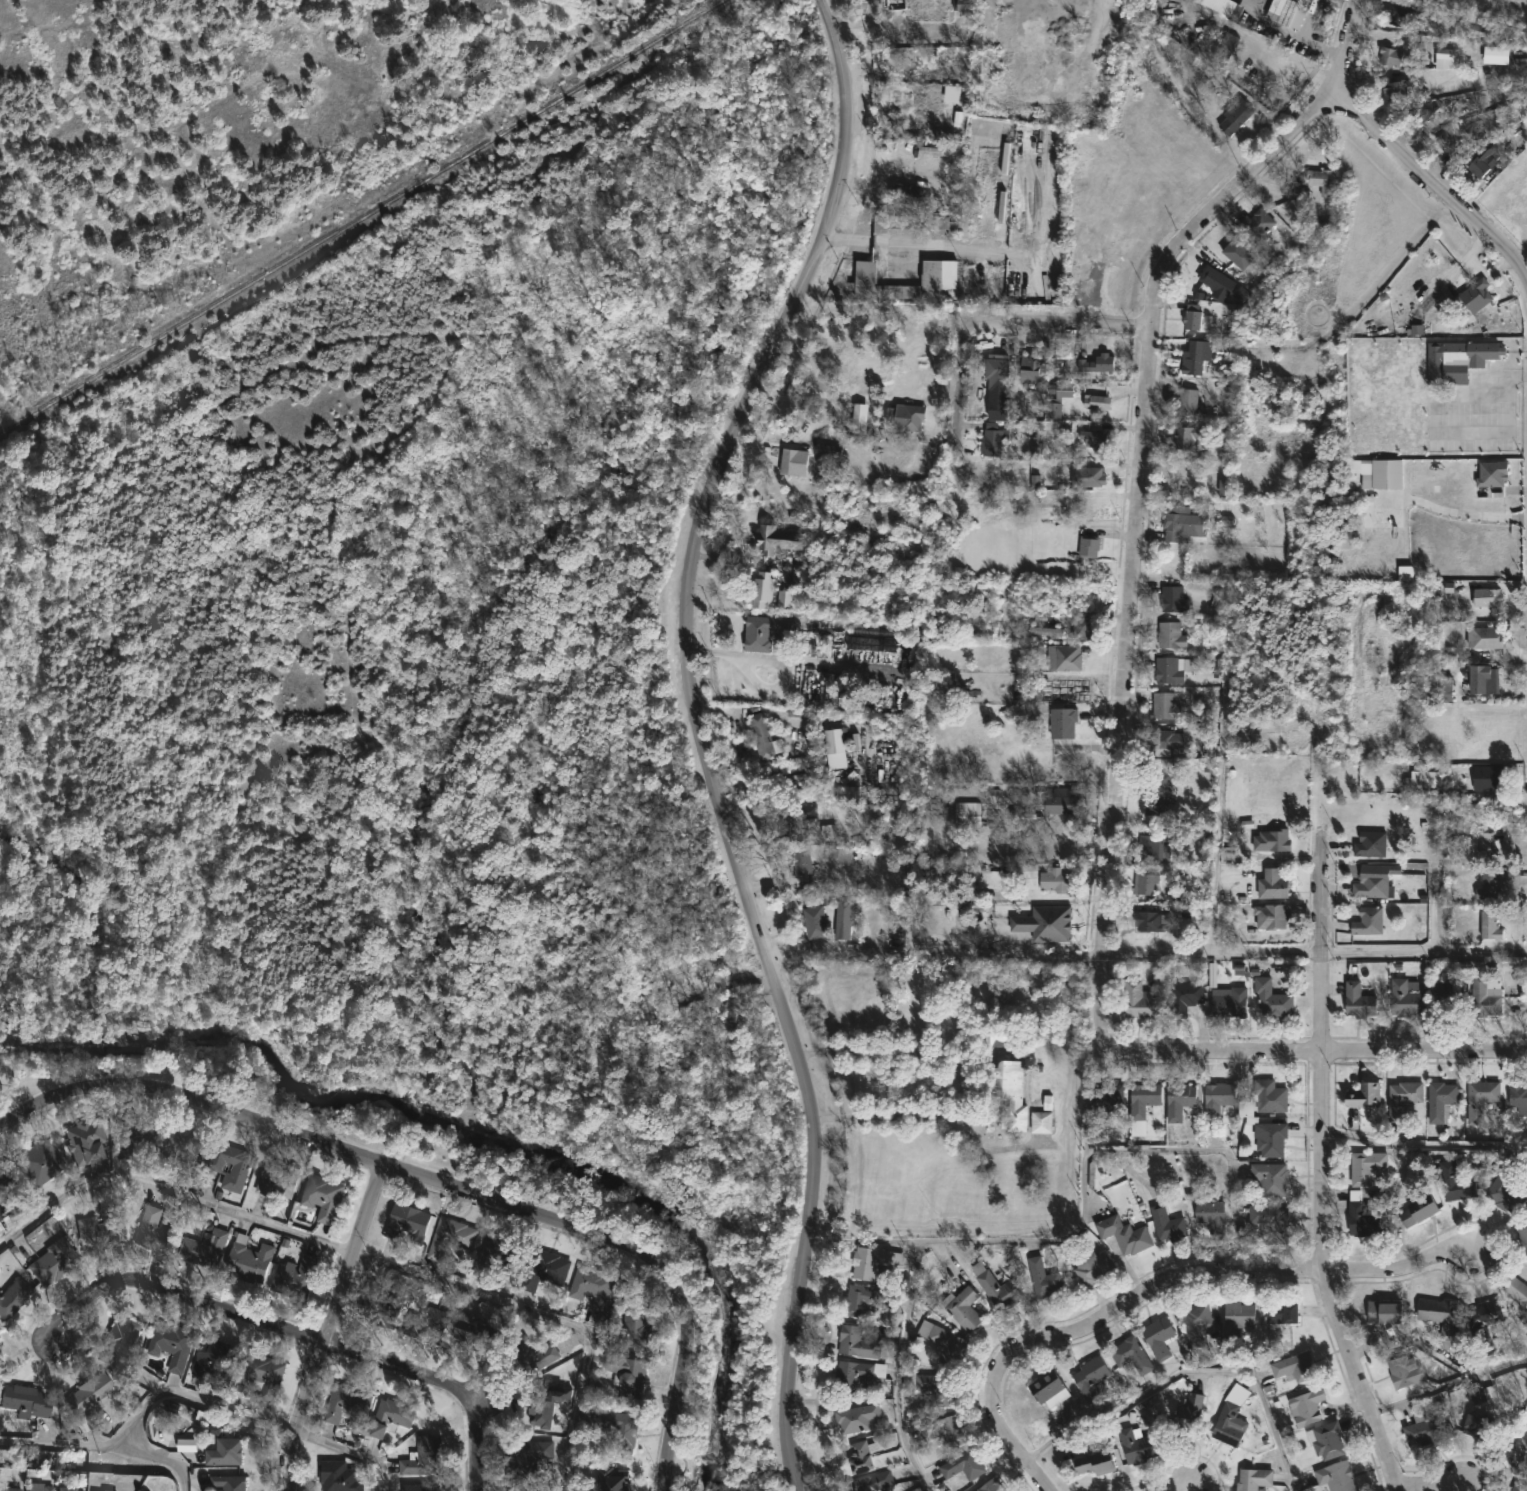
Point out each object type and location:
road: (1362, 0)
building: (1435, 0)
building: (961, 4)
building: (896, 5)
building: (1225, 6)
building: (1286, 11)
building: (1400, 15)
road: (1309, 42)
building: (1390, 55)
building: (939, 57)
road: (1291, 60)
building: (1395, 85)
building: (1235, 116)
building: (1449, 140)
road: (1260, 163)
building: (1480, 163)
building: (1320, 179)
road: (1435, 183)
building: (908, 191)
railway: (360, 217)
building: (909, 223)
building: (1257, 223)
building: (1235, 253)
building: (931, 271)
building: (1215, 279)
building: (1472, 296)
building: (1191, 316)
road: (1066, 323)
building: (1458, 359)
building: (1097, 363)
building: (1192, 363)
road: (961, 368)
building: (1032, 368)
building: (996, 371)
building: (1187, 400)
building: (1097, 402)
building: (912, 416)
building: (858, 419)
building: (1188, 435)
building: (1095, 440)
building: (992, 442)
building: (826, 451)
building: (788, 461)
building: (1087, 476)
building: (1225, 488)
road: (1452, 507)
building: (1180, 523)
building: (777, 539)
building: (1088, 546)
building: (761, 588)
building: (1488, 596)
building: (1173, 599)
building: (1082, 628)
building: (762, 632)
building: (1170, 635)
building: (1485, 637)
road: (730, 651)
building: (1064, 658)
building: (1169, 669)
building: (1484, 684)
building: (1444, 688)
building: (1165, 705)
road: (1122, 714)
building: (1062, 722)
road: (698, 734)
building: (762, 738)
building: (1161, 739)
building: (834, 749)
road: (765, 776)
building: (1486, 776)
building: (1424, 779)
building: (1157, 792)
building: (1059, 798)
building: (966, 813)
building: (795, 817)
building: (1271, 840)
building: (1370, 842)
building: (1485, 847)
building: (1150, 849)
building: (801, 861)
building: (1057, 879)
building: (1144, 882)
building: (1487, 882)
building: (1272, 883)
building: (1372, 883)
building: (1270, 916)
building: (816, 919)
building: (1152, 920)
building: (1368, 920)
building: (1044, 923)
building: (1489, 925)
road: (822, 944)
road: (1252, 956)
building: (695, 974)
building: (1447, 992)
building: (1185, 995)
building: (1485, 997)
building: (1272, 998)
building: (1404, 998)
building: (1139, 999)
building: (1358, 999)
building: (1230, 1002)
road: (1339, 1045)
road: (1091, 1055)
building: (1003, 1094)
building: (1363, 1094)
building: (1269, 1096)
building: (1403, 1096)
building: (1518, 1096)
building: (1480, 1097)
building: (1143, 1098)
building: (1218, 1098)
building: (1107, 1099)
building: (1178, 1099)
building: (1440, 1100)
building: (1041, 1122)
building: (1138, 1127)
building: (87, 1135)
building: (135, 1135)
building: (1270, 1138)
road: (1421, 1144)
building: (182, 1146)
road: (1218, 1148)
building: (38, 1162)
building: (232, 1164)
road: (1317, 1167)
building: (1367, 1167)
building: (279, 1177)
building: (1270, 1177)
building: (7, 1179)
road: (443, 1182)
building: (1457, 1182)
road: (170, 1191)
building: (1506, 1194)
building: (323, 1195)
building: (1418, 1210)
building: (2, 1212)
building: (1211, 1214)
building: (1364, 1218)
building: (1271, 1221)
building: (405, 1222)
building: (1167, 1223)
building: (103, 1228)
building: (160, 1228)
building: (1123, 1233)
building: (449, 1237)
building: (1522, 1237)
road: (952, 1238)
road: (864, 1241)
building: (207, 1247)
building: (497, 1255)
building: (251, 1259)
building: (872, 1260)
building: (56, 1261)
building: (1090, 1265)
building: (542, 1268)
building: (298, 1276)
building: (1042, 1277)
building: (591, 1286)
building: (996, 1287)
road: (1155, 1289)
building: (1516, 1289)
building: (15, 1298)
building: (862, 1300)
building: (380, 1305)
building: (962, 1307)
building: (1281, 1312)
building: (1384, 1312)
road: (544, 1316)
building: (1483, 1318)
building: (1441, 1319)
building: (1238, 1320)
building: (1197, 1322)
building: (426, 1323)
road: (328, 1325)
building: (632, 1328)
building: (472, 1331)
road: (302, 1335)
building: (1159, 1336)
building: (121, 1340)
building: (856, 1341)
building: (944, 1343)
building: (174, 1344)
building: (531, 1354)
building: (1132, 1355)
building: (218, 1357)
building: (1295, 1366)
road: (1189, 1371)
building: (1405, 1372)
building: (855, 1373)
building: (267, 1374)
building: (0, 1375)
building: (627, 1375)
building: (1091, 1378)
building: (933, 1385)
road: (1443, 1385)
building: (1048, 1388)
building: (90, 1395)
road: (194, 1396)
building: (29, 1401)
building: (546, 1402)
building: (346, 1405)
building: (1306, 1405)
building: (1189, 1412)
building: (389, 1416)
building: (857, 1417)
building: (86, 1423)
building: (1228, 1425)
building: (1478, 1425)
building: (617, 1428)
building: (946, 1429)
building: (1426, 1429)
building: (1326, 1439)
building: (187, 1445)
building: (1136, 1445)
road: (104, 1447)
road: (350, 1447)
building: (1517, 1450)
building: (229, 1452)
building: (861, 1456)
building: (422, 1457)
building: (523, 1457)
building: (1096, 1462)
building: (962, 1464)
building: (336, 1476)
building: (1333, 1476)
building: (610, 1478)
building: (1254, 1479)
road: (1417, 1480)
building: (875, 1482)
building: (234, 1483)
road: (1165, 1483)
building: (991, 1486)
building: (1519, 1486)
building: (418, 1488)
building: (10, 1489)
building: (51, 1489)
building: (69, 1489)
building: (94, 1490)
building: (107, 1490)
building: (518, 1490)

